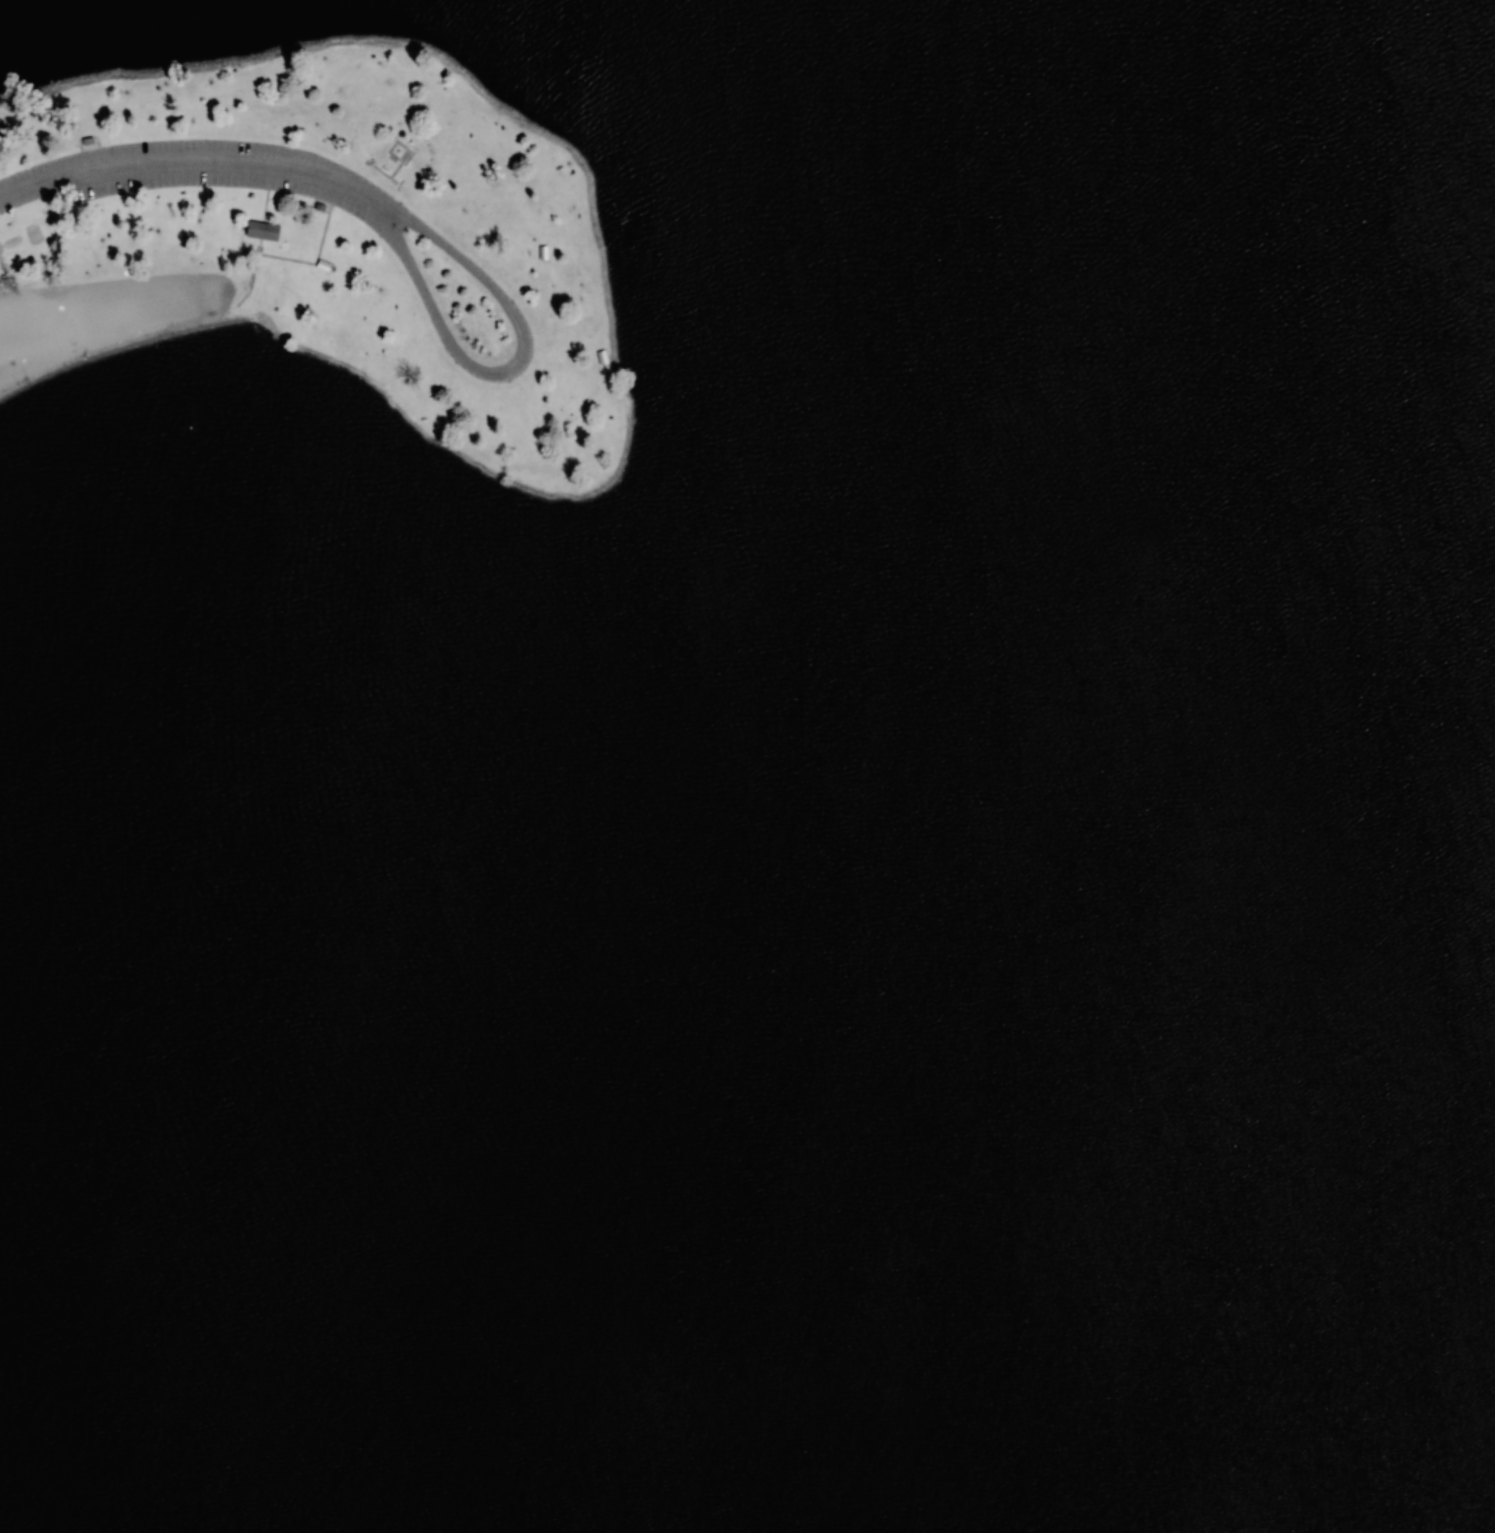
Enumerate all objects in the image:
building: (1, 131)
road: (192, 164)
building: (262, 230)
road: (453, 356)
road: (574, 373)
park: (747, 766)
river: (1105, 1181)

